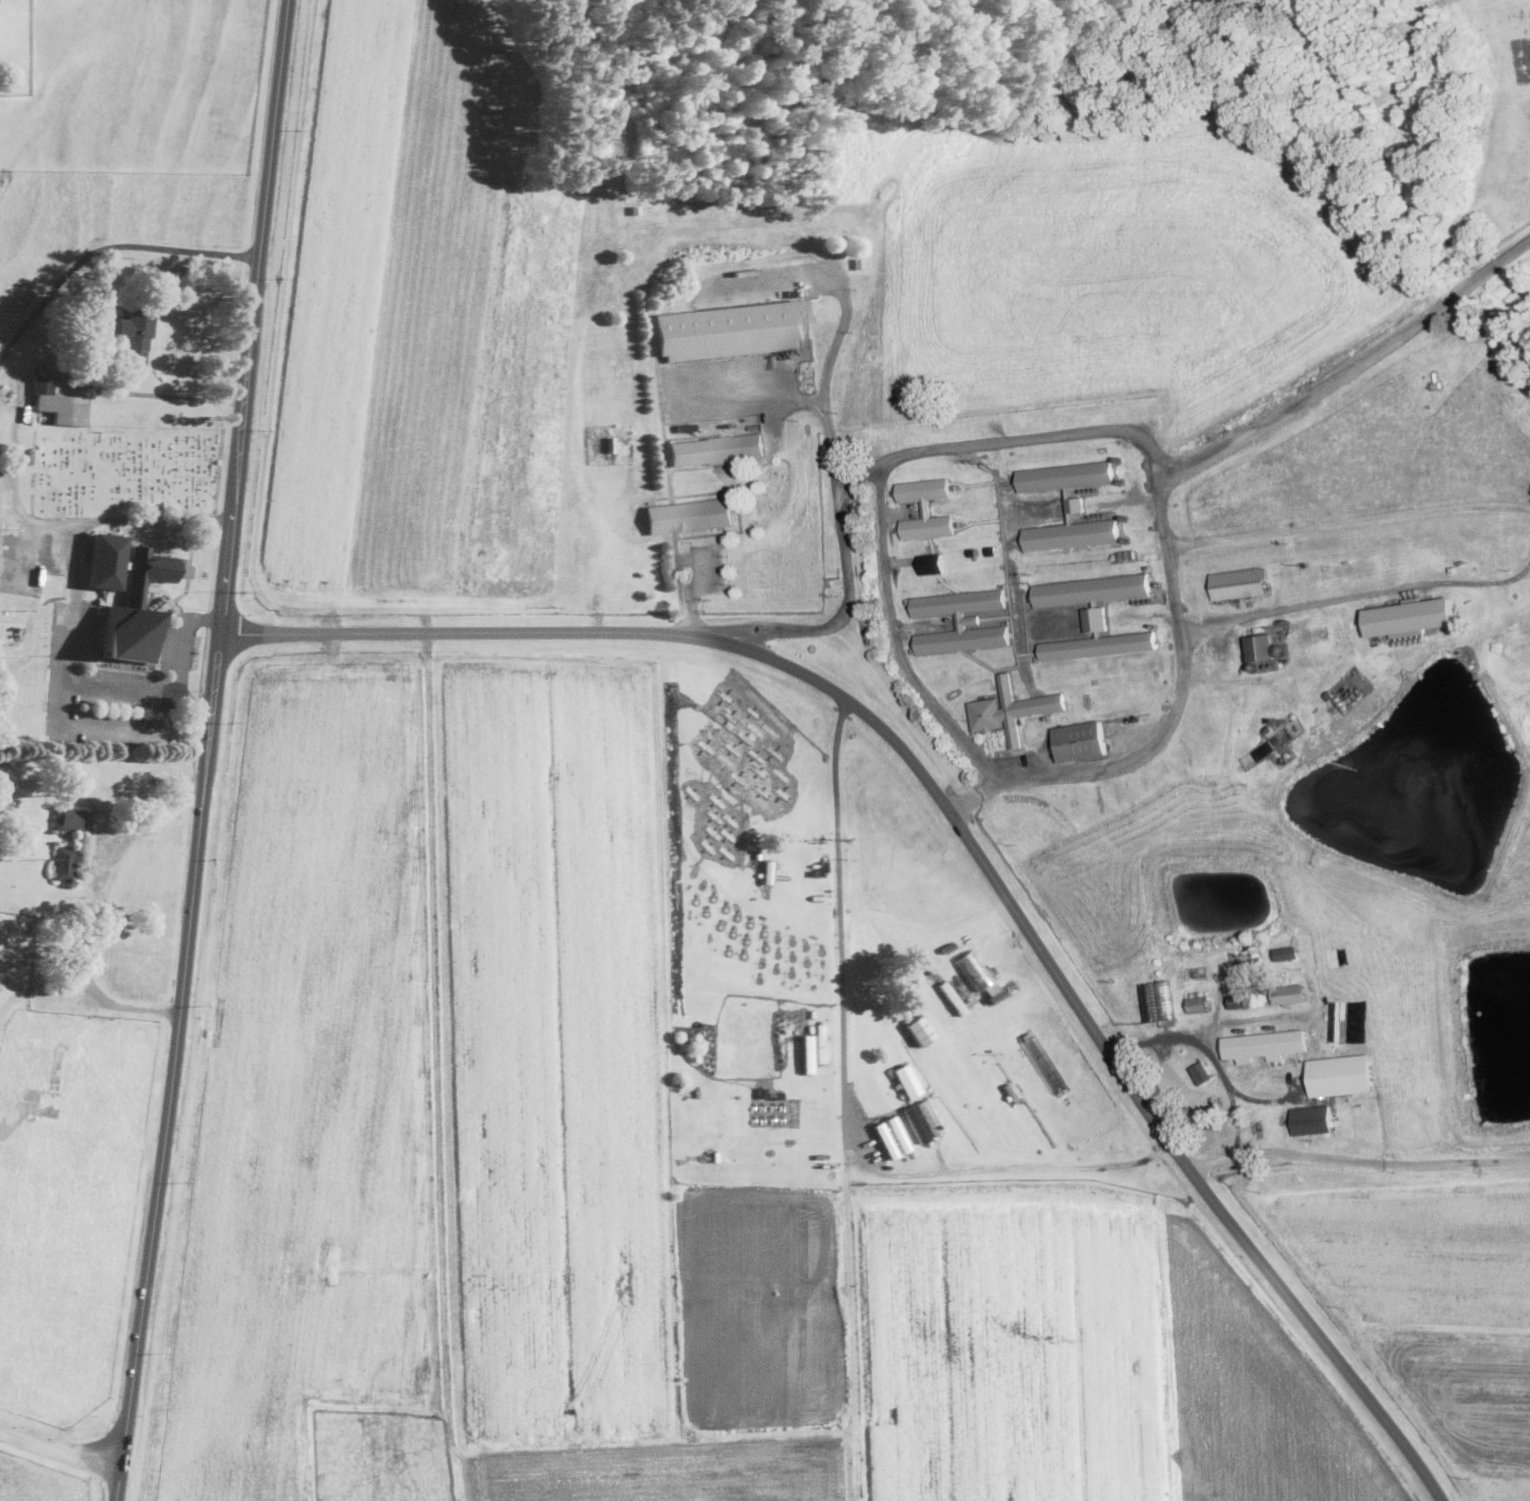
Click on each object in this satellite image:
building: (635, 208)
road: (104, 249)
building: (859, 262)
road: (833, 287)
building: (732, 328)
building: (137, 333)
road: (1351, 368)
building: (1436, 382)
road: (788, 393)
building: (57, 402)
road: (1128, 431)
road: (15, 436)
building: (612, 443)
building: (718, 448)
building: (1118, 459)
building: (1121, 481)
building: (1091, 489)
building: (1095, 489)
building: (1086, 490)
building: (1081, 491)
building: (915, 505)
building: (1069, 506)
building: (855, 507)
building: (927, 508)
road: (1524, 509)
building: (691, 514)
building: (1105, 514)
building: (1110, 514)
building: (1115, 514)
building: (1100, 515)
building: (1091, 516)
building: (1096, 516)
building: (1124, 517)
road: (1350, 524)
building: (1126, 539)
building: (992, 551)
building: (973, 552)
building: (1125, 556)
building: (933, 563)
building: (1305, 565)
building: (1148, 567)
building: (1239, 583)
building: (1158, 584)
building: (152, 587)
building: (1411, 590)
building: (128, 595)
building: (1148, 601)
building: (1143, 602)
road: (1356, 602)
building: (1132, 603)
building: (1137, 603)
building: (1094, 615)
building: (1409, 617)
building: (949, 618)
building: (961, 620)
building: (1155, 625)
road: (896, 640)
building: (1409, 640)
road: (73, 648)
building: (1261, 648)
building: (1281, 650)
building: (1459, 652)
road: (180, 658)
building: (1255, 666)
building: (1329, 694)
building: (1011, 710)
building: (1047, 718)
road: (84, 722)
building: (1269, 728)
building: (1080, 741)
road: (206, 751)
crop: (777, 764)
building: (159, 780)
building: (72, 819)
road: (965, 832)
building: (757, 855)
building: (65, 863)
building: (780, 863)
building: (768, 867)
building: (818, 868)
building: (861, 885)
building: (857, 890)
building: (766, 891)
road: (97, 904)
building: (949, 947)
building: (1287, 953)
building: (975, 969)
building: (960, 982)
building: (995, 993)
building: (1290, 994)
building: (951, 997)
building: (1243, 1001)
building: (1159, 1002)
building: (1197, 1004)
building: (809, 1019)
building: (920, 1030)
building: (807, 1045)
building: (1265, 1045)
road: (1211, 1050)
building: (1201, 1072)
building: (1341, 1074)
building: (907, 1080)
road: (844, 1087)
building: (1010, 1091)
building: (762, 1092)
building: (779, 1094)
building: (930, 1118)
building: (1313, 1118)
building: (916, 1124)
building: (884, 1139)
road: (1358, 1161)
road: (59, 1450)

